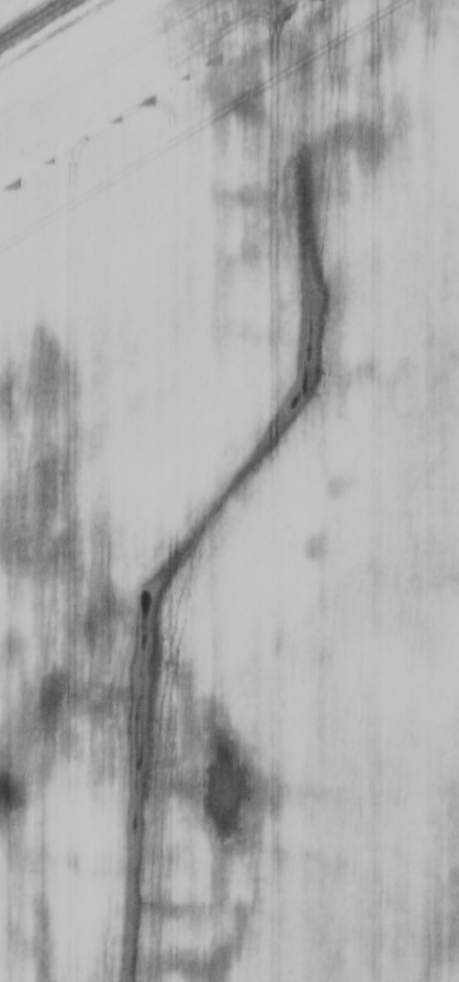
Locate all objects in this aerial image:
railway: (34, 21)

